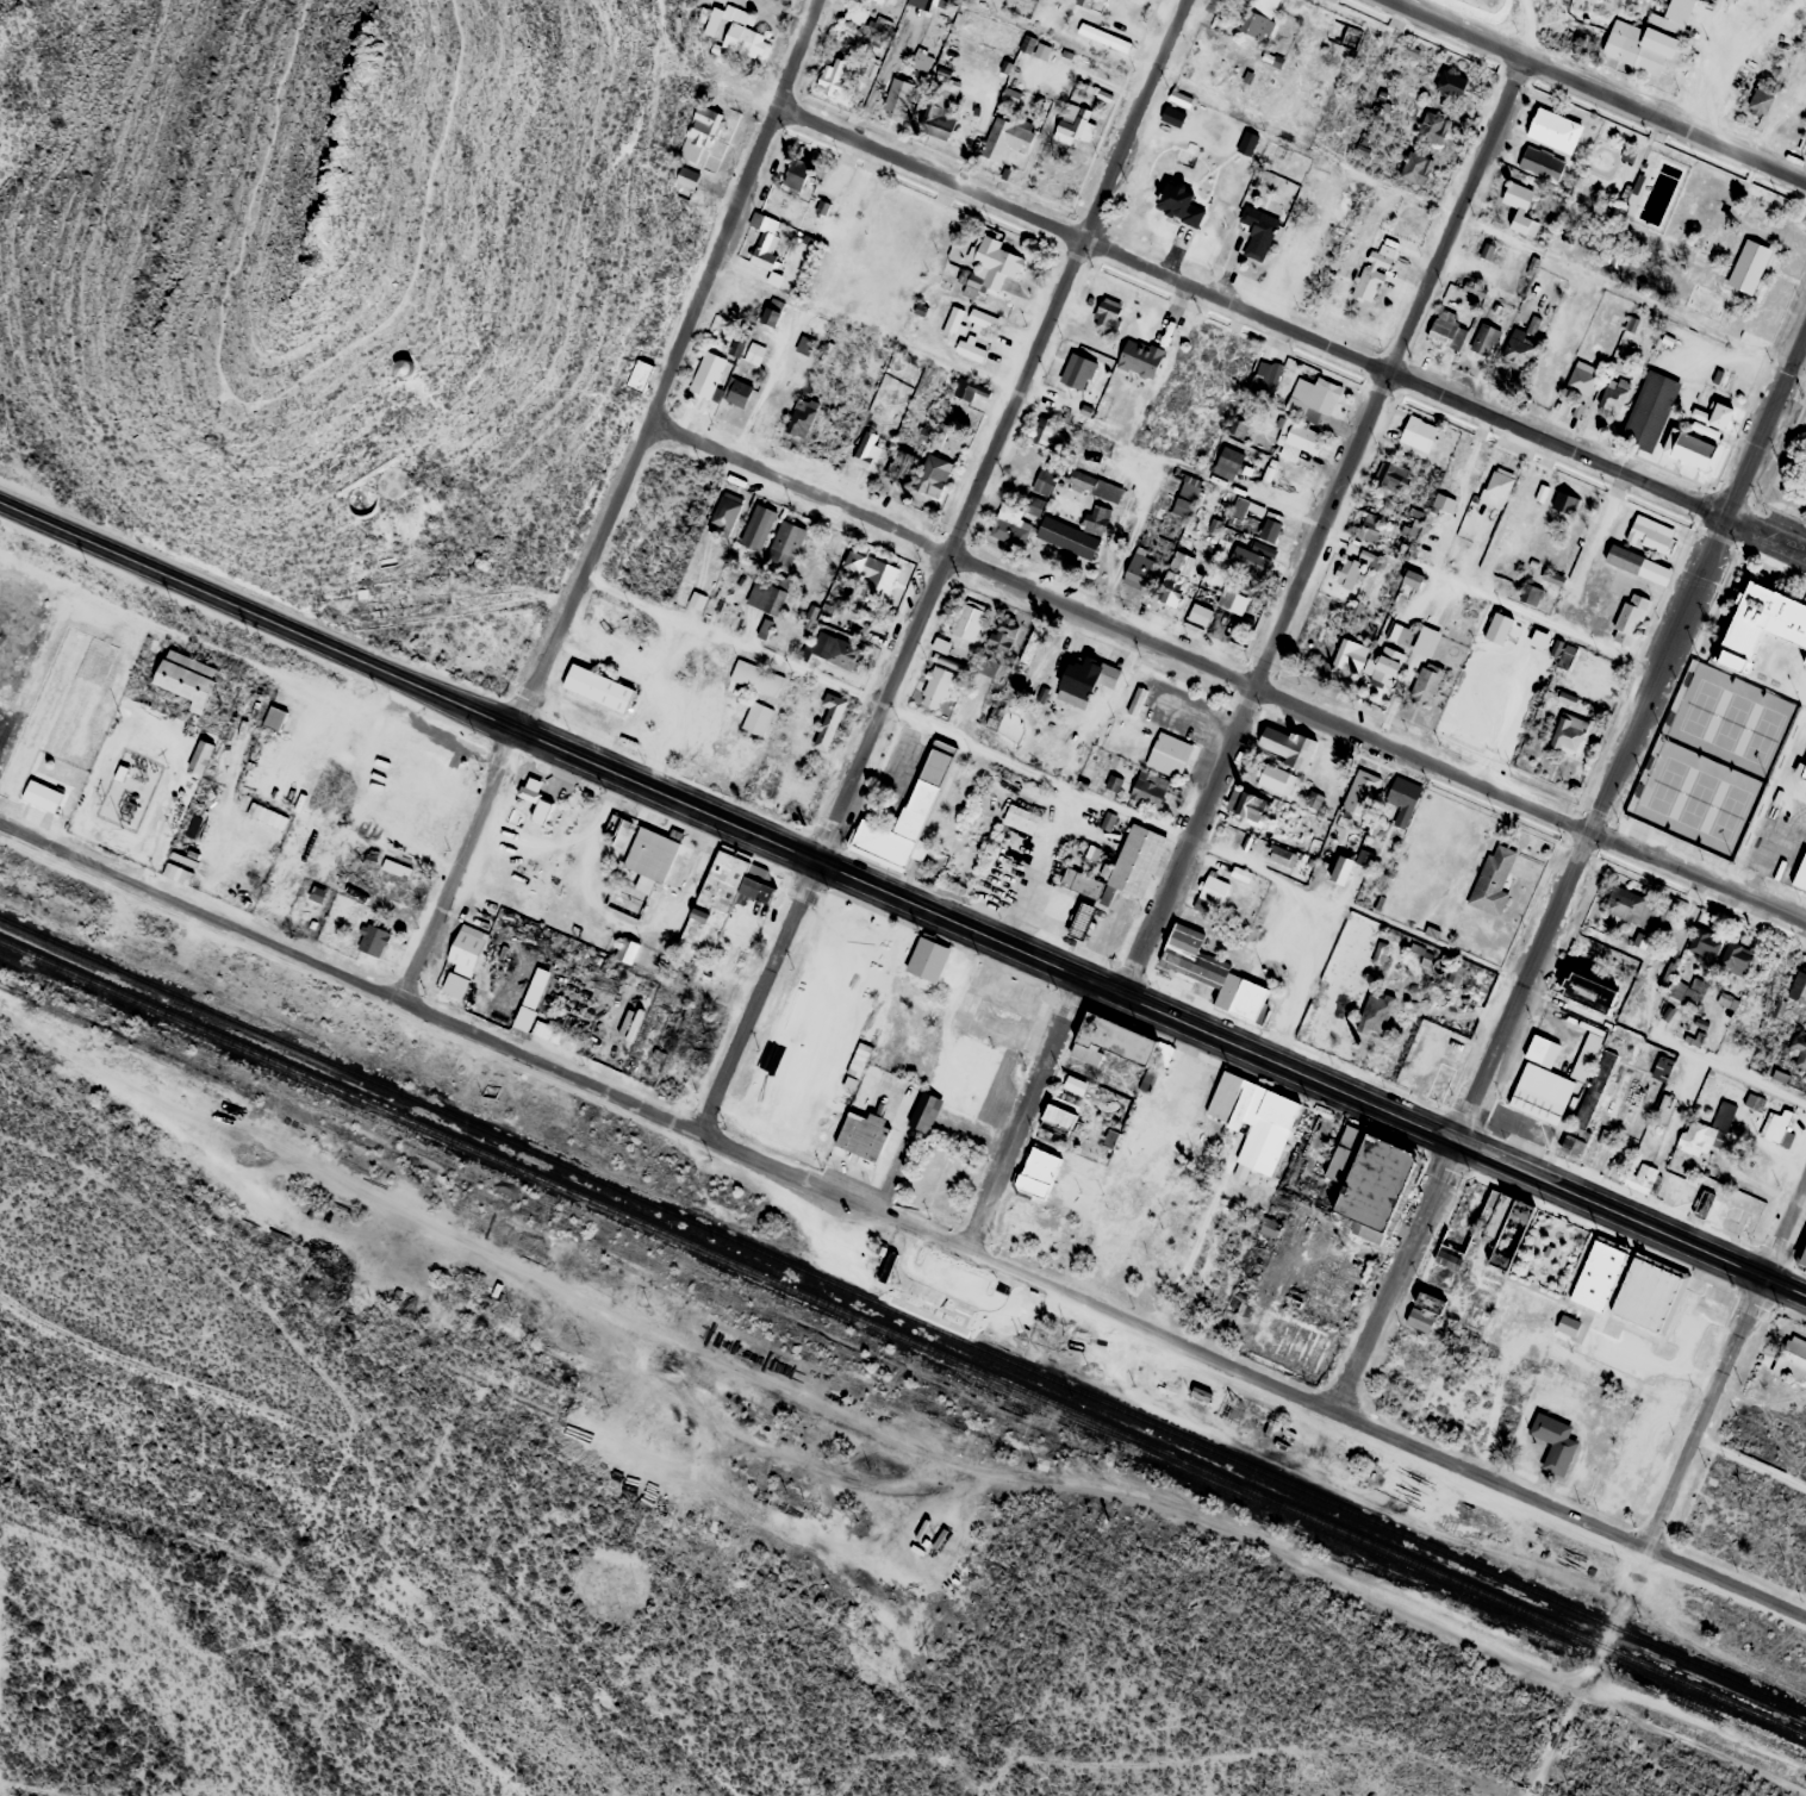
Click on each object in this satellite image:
building: (878, 1)
building: (917, 2)
building: (1084, 2)
building: (855, 14)
building: (1743, 15)
building: (1259, 19)
building: (878, 25)
building: (735, 31)
building: (1104, 37)
building: (1351, 37)
building: (1648, 39)
building: (990, 51)
building: (922, 58)
building: (834, 76)
building: (945, 81)
building: (1446, 83)
road: (1596, 89)
building: (897, 96)
building: (1760, 100)
building: (1075, 124)
building: (1427, 127)
building: (1555, 130)
building: (698, 135)
building: (1005, 138)
building: (1542, 163)
building: (1409, 168)
building: (796, 174)
building: (686, 176)
building: (1178, 204)
building: (1521, 208)
building: (1258, 232)
park: (1705, 242)
building: (766, 251)
building: (1740, 267)
building: (990, 269)
building: (1365, 275)
building: (772, 312)
road: (1251, 313)
building: (1107, 314)
building: (1447, 330)
building: (970, 331)
building: (1483, 339)
building: (804, 345)
building: (736, 347)
building: (1519, 348)
building: (754, 354)
road: (511, 357)
building: (1139, 358)
building: (404, 368)
building: (1077, 372)
building: (708, 375)
building: (1259, 376)
building: (1582, 378)
building: (967, 389)
building: (739, 393)
building: (1613, 394)
road: (275, 397)
building: (1306, 398)
building: (1650, 410)
building: (1720, 416)
building: (802, 417)
building: (1035, 432)
building: (1412, 434)
building: (1288, 441)
building: (860, 449)
building: (1689, 449)
building: (1223, 463)
building: (891, 466)
building: (1390, 475)
building: (1036, 479)
building: (926, 480)
building: (1497, 487)
building: (1100, 492)
building: (1187, 497)
road: (616, 503)
building: (1437, 503)
building: (1564, 503)
building: (1027, 505)
building: (1238, 510)
building: (720, 513)
building: (1097, 518)
road: (1321, 525)
building: (1371, 525)
building: (751, 528)
building: (1003, 529)
building: (1270, 530)
building: (1262, 531)
road: (1765, 532)
building: (1650, 534)
building: (1060, 537)
building: (779, 543)
building: (1250, 561)
building: (1638, 565)
building: (1139, 567)
road: (940, 568)
building: (1353, 568)
building: (870, 570)
building: (1163, 591)
building: (767, 594)
building: (1530, 594)
building: (1226, 603)
road: (1490, 607)
building: (1200, 615)
building: (967, 619)
building: (1630, 619)
building: (1499, 628)
building: (1757, 629)
road: (1122, 634)
building: (1401, 634)
building: (1003, 635)
building: (1540, 640)
building: (1419, 641)
building: (830, 651)
building: (1343, 655)
building: (1380, 665)
building: (752, 676)
building: (187, 679)
building: (1085, 680)
building: (1419, 684)
building: (590, 687)
building: (936, 687)
building: (1136, 701)
building: (749, 717)
building: (274, 718)
building: (823, 718)
building: (1565, 734)
building: (1287, 747)
building: (1169, 754)
building: (200, 757)
park: (1714, 760)
building: (1799, 768)
building: (767, 775)
road: (1054, 778)
building: (1276, 780)
power substation: (129, 790)
building: (1150, 790)
building: (527, 798)
building: (1358, 798)
building: (1403, 799)
building: (1251, 807)
building: (898, 813)
building: (1021, 819)
road: (727, 824)
building: (623, 835)
building: (644, 854)
building: (1281, 856)
building: (1127, 863)
building: (1341, 869)
road: (1575, 874)
road: (1700, 877)
building: (1795, 877)
building: (393, 879)
building: (1484, 881)
building: (1072, 883)
building: (715, 884)
building: (1206, 890)
building: (749, 891)
building: (625, 899)
building: (1628, 909)
building: (1076, 918)
building: (373, 941)
building: (1704, 946)
building: (627, 950)
building: (1185, 955)
building: (1737, 959)
building: (922, 960)
building: (461, 961)
building: (1798, 987)
building: (1589, 992)
building: (1234, 993)
building: (1377, 1012)
building: (544, 1029)
building: (1110, 1040)
building: (1799, 1050)
building: (1586, 1055)
building: (1662, 1067)
road: (1730, 1071)
building: (1069, 1084)
building: (1536, 1084)
building: (1755, 1102)
building: (1589, 1103)
building: (917, 1111)
road: (1023, 1112)
building: (1053, 1115)
road: (665, 1121)
building: (1247, 1121)
building: (1770, 1124)
building: (1699, 1128)
building: (855, 1136)
building: (1033, 1173)
building: (1634, 1178)
building: (1363, 1180)
building: (1704, 1202)
building: (1695, 1203)
road: (1631, 1220)
building: (1270, 1227)
building: (1503, 1227)
building: (1799, 1255)
building: (883, 1256)
building: (1446, 1260)
building: (1592, 1274)
building: (1644, 1292)
building: (963, 1295)
railway: (903, 1312)
railway: (963, 1332)
railway: (902, 1335)
building: (1792, 1360)
road: (1729, 1371)
building: (1200, 1392)
building: (1547, 1441)
road: (1752, 1465)
road: (1075, 1480)
road: (1568, 1515)
road: (1586, 1673)
road: (1341, 1775)

